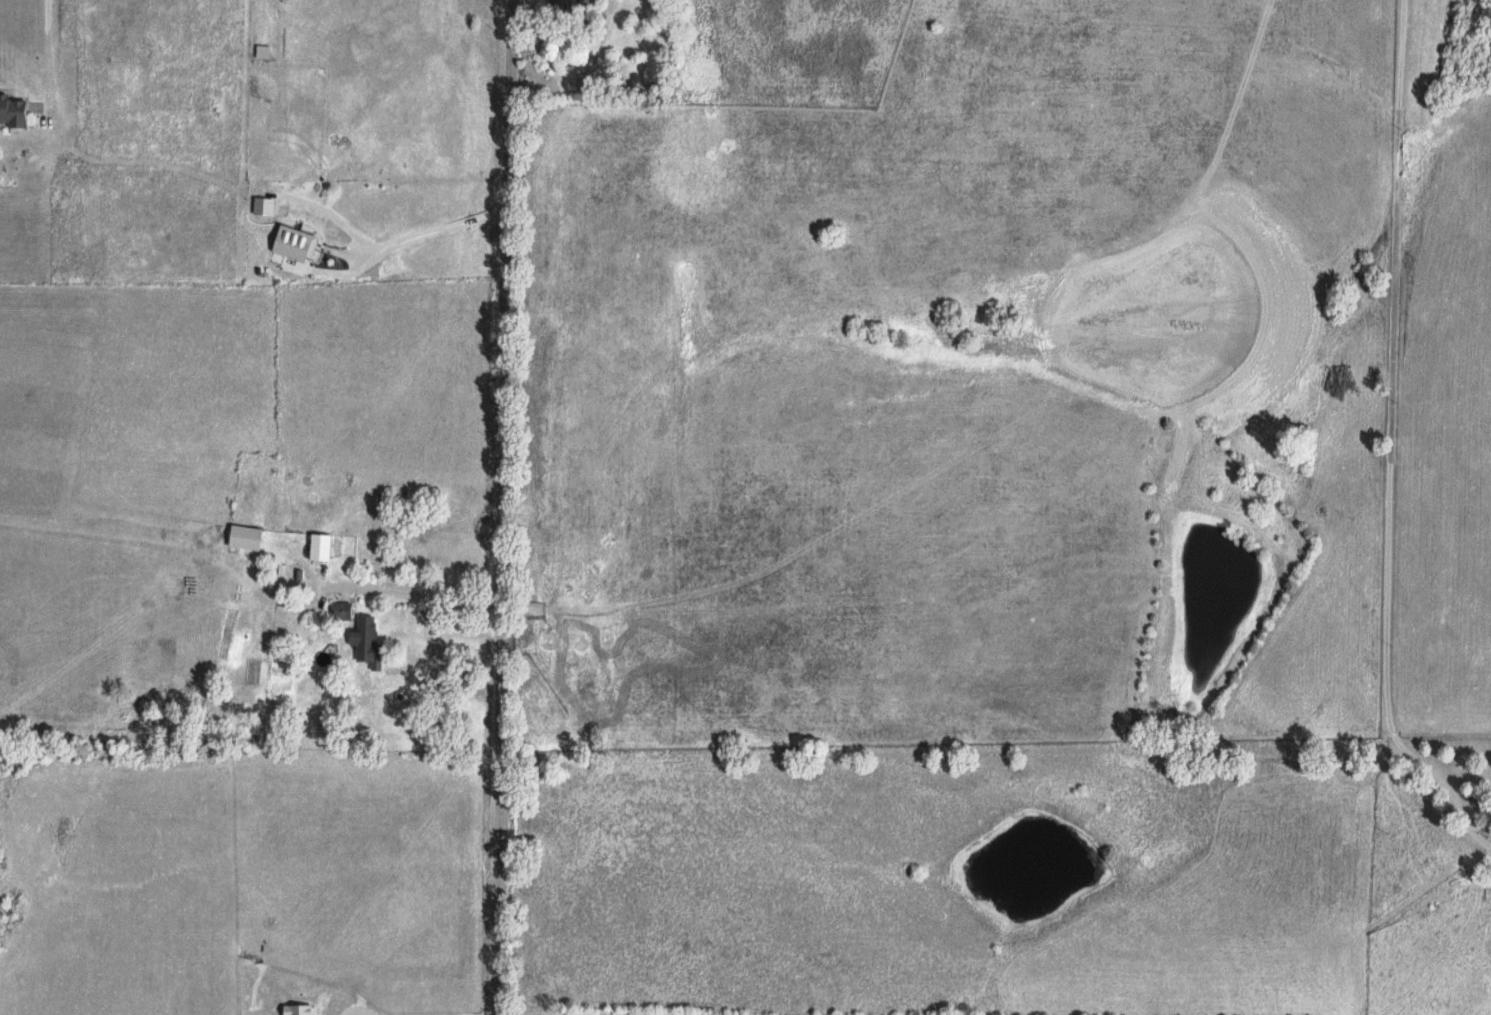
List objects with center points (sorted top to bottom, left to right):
road: (52, 54)
building: (11, 110)
building: (261, 204)
building: (292, 242)
road: (390, 253)
road: (1392, 409)
road: (281, 434)
road: (506, 507)
building: (242, 536)
building: (317, 546)
road: (343, 582)
building: (340, 610)
building: (365, 641)
road: (955, 768)
road: (1462, 801)
building: (300, 1010)

